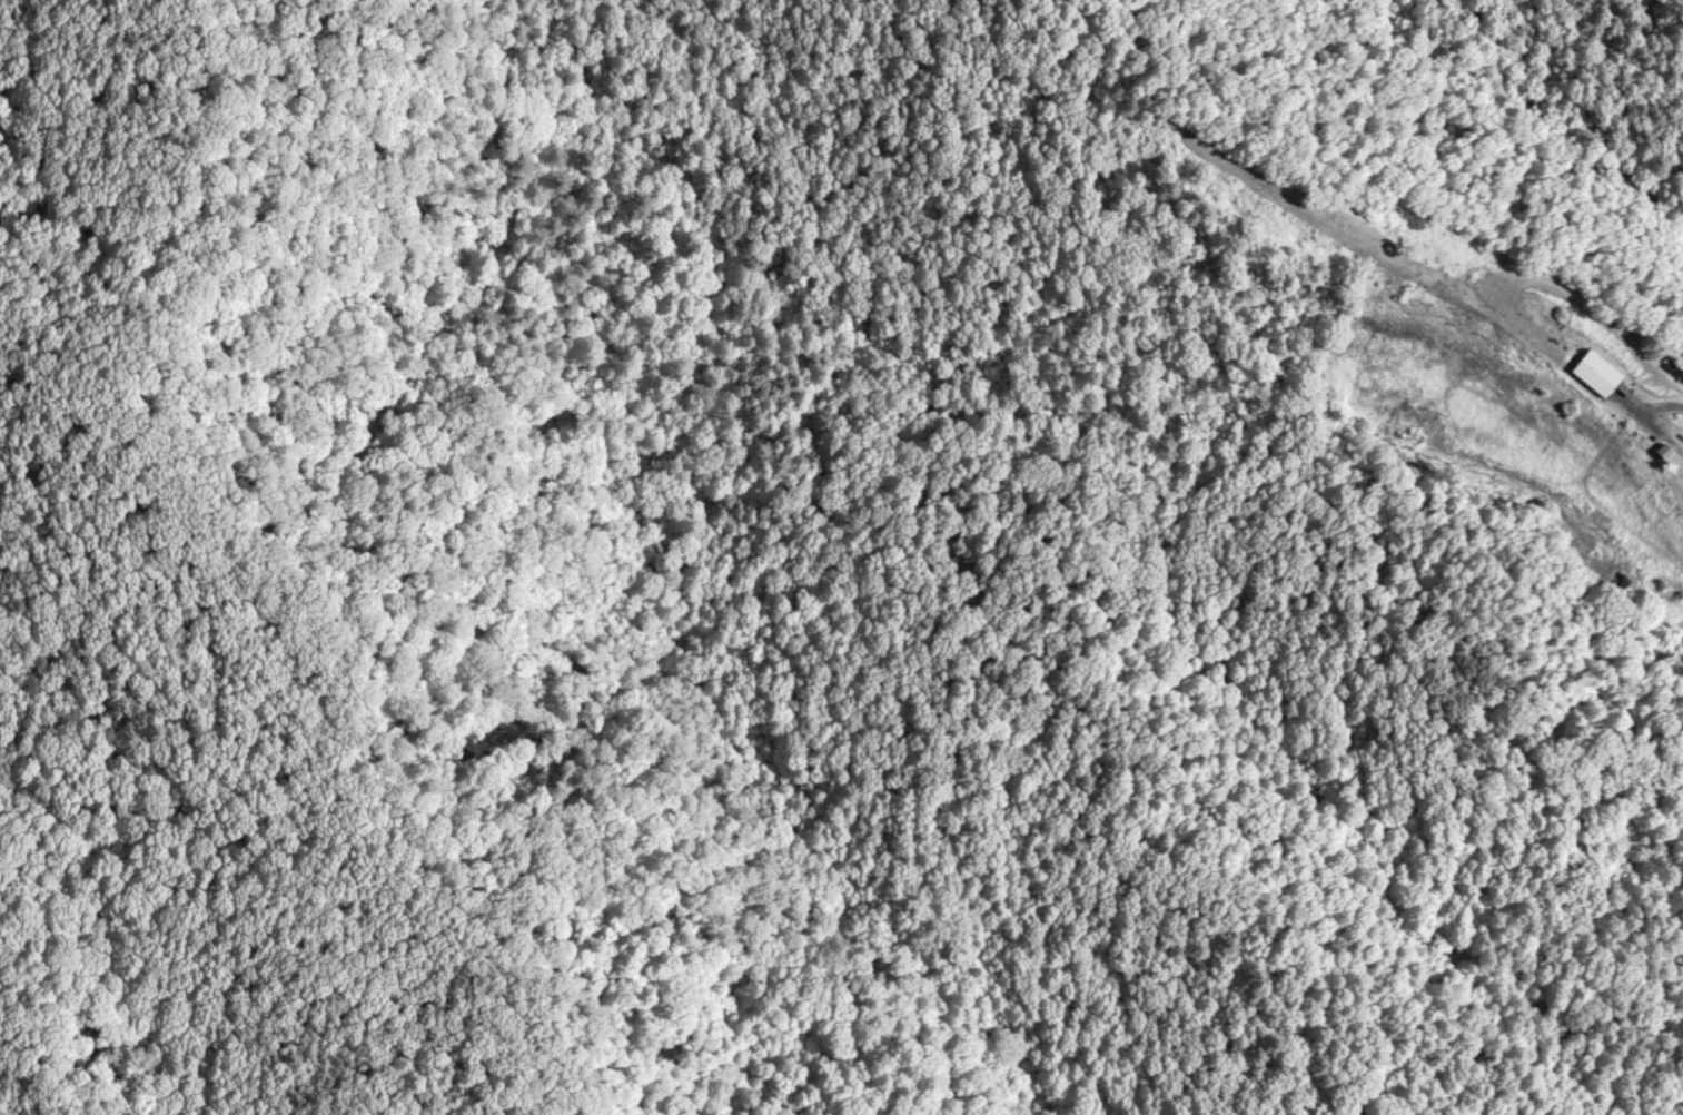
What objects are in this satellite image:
road: (1556, 106)
road: (1636, 428)

